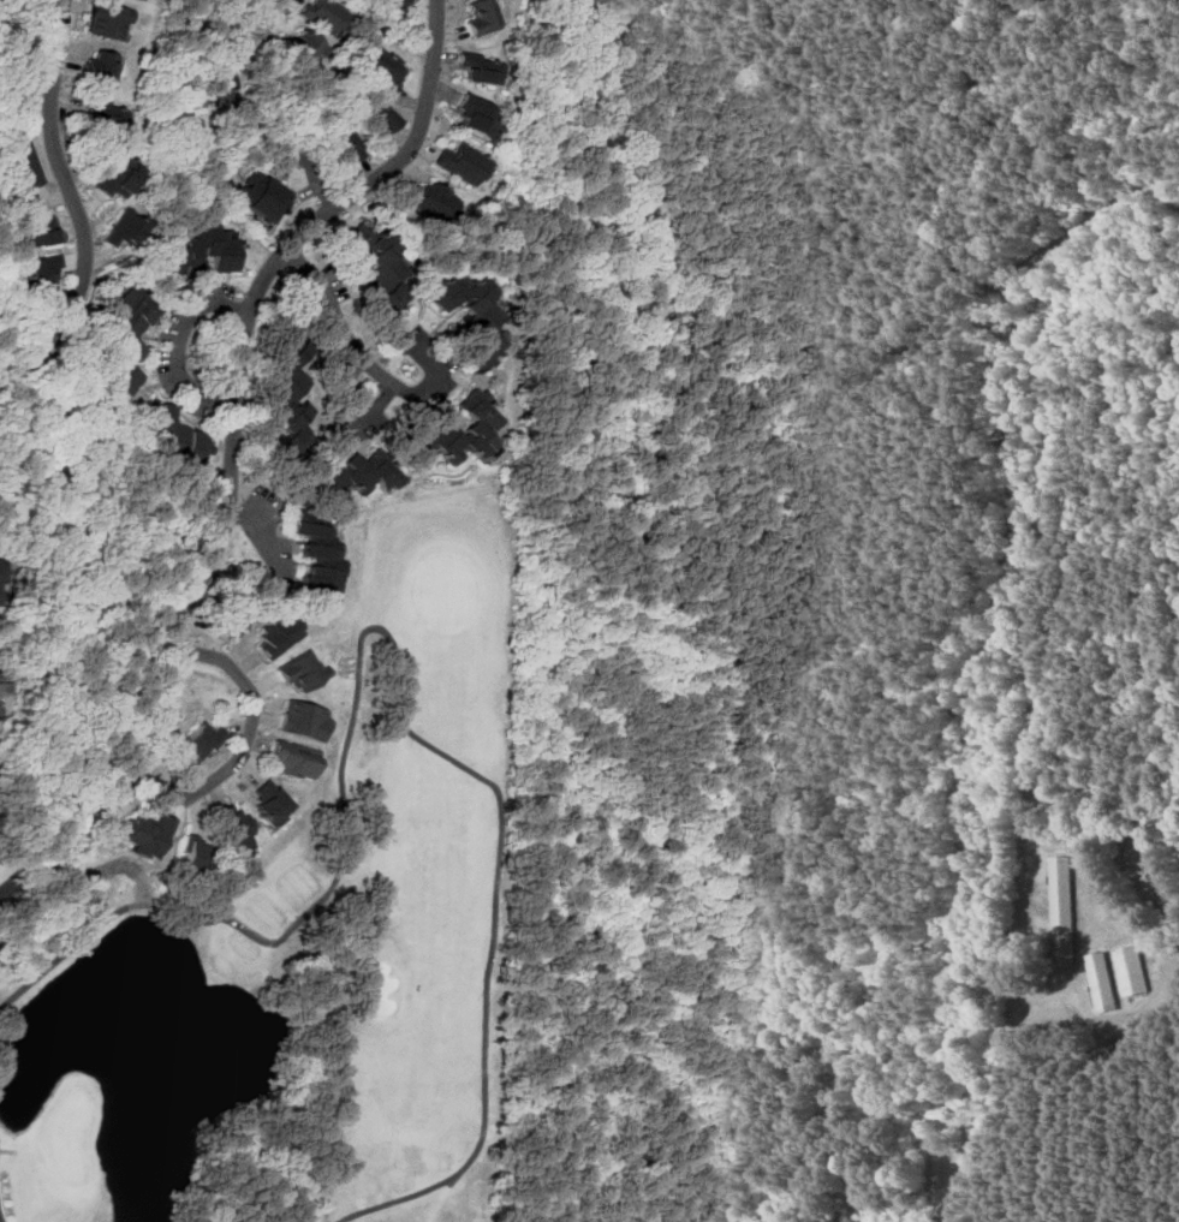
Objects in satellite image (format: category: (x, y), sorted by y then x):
building: (401, 4)
road: (266, 13)
building: (324, 16)
building: (482, 17)
building: (113, 20)
building: (308, 43)
building: (388, 66)
building: (101, 68)
building: (478, 68)
road: (53, 85)
building: (109, 115)
building: (475, 115)
building: (389, 118)
building: (353, 144)
building: (464, 163)
building: (25, 166)
building: (124, 178)
road: (318, 185)
building: (264, 196)
building: (433, 199)
building: (130, 228)
building: (46, 233)
building: (214, 250)
building: (42, 272)
building: (375, 272)
road: (77, 286)
road: (339, 312)
building: (137, 318)
road: (178, 346)
building: (478, 347)
building: (131, 380)
road: (430, 380)
building: (275, 412)
building: (447, 435)
building: (173, 441)
road: (230, 446)
building: (351, 473)
road: (248, 527)
building: (306, 560)
building: (0, 568)
building: (214, 620)
building: (270, 633)
road: (1029, 651)
building: (291, 669)
building: (2, 681)
road: (255, 707)
building: (296, 720)
building: (187, 741)
building: (288, 757)
building: (261, 803)
building: (225, 827)
building: (138, 834)
building: (1061, 908)
park: (308, 950)
building: (1130, 970)
building: (1100, 982)

